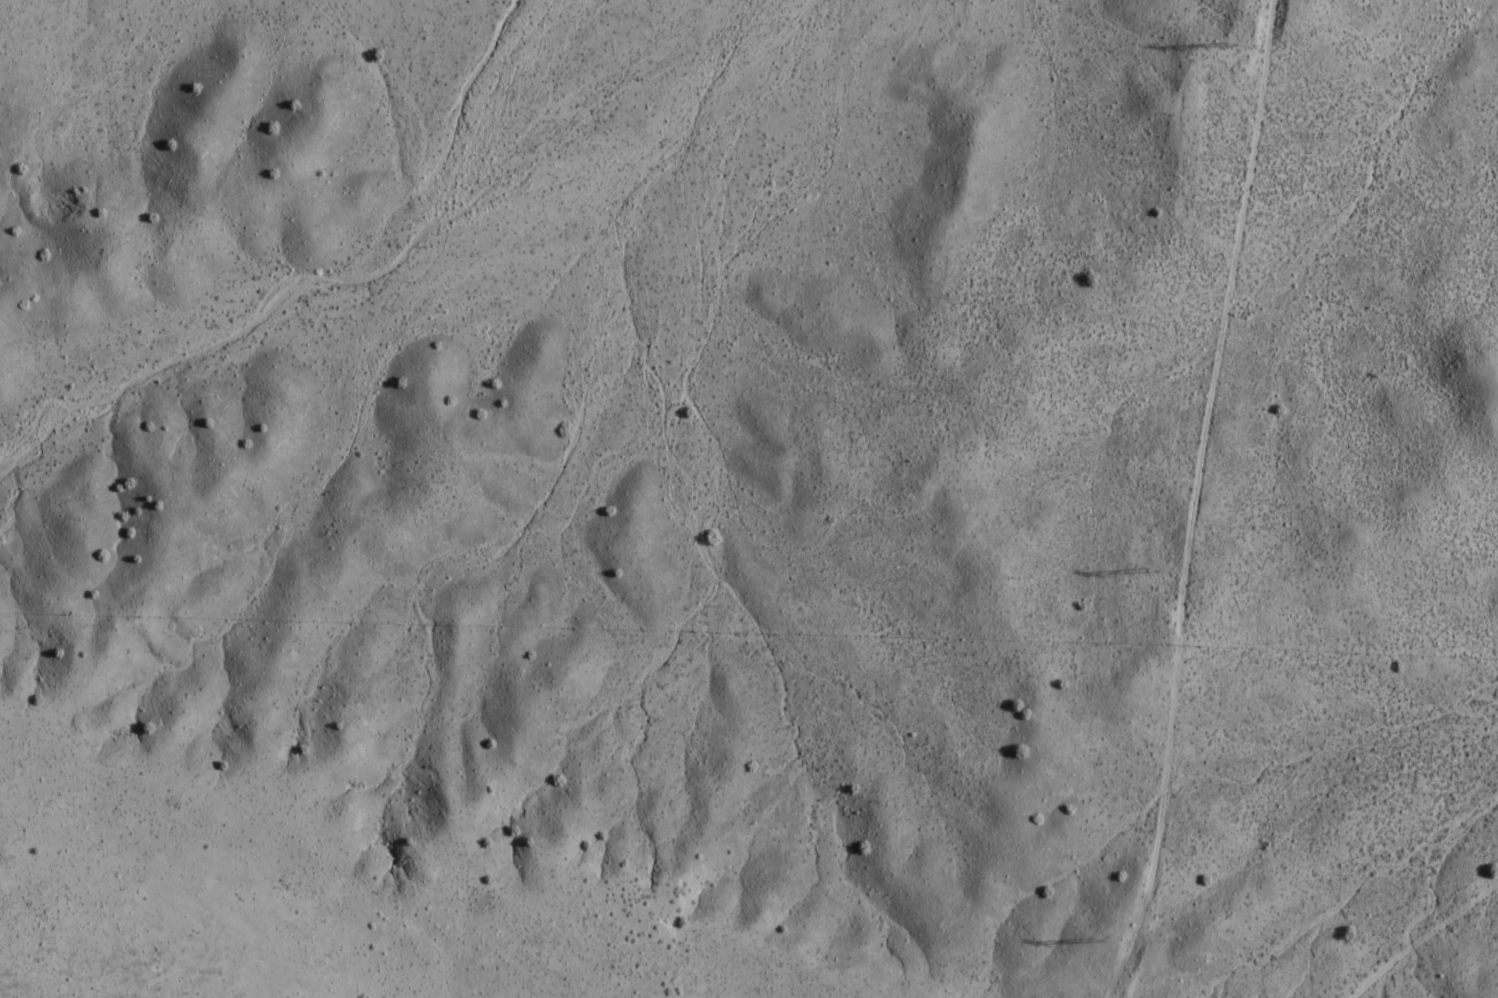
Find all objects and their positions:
power tower: (1240, 44)
power tower: (1165, 568)
power tower: (1106, 936)

